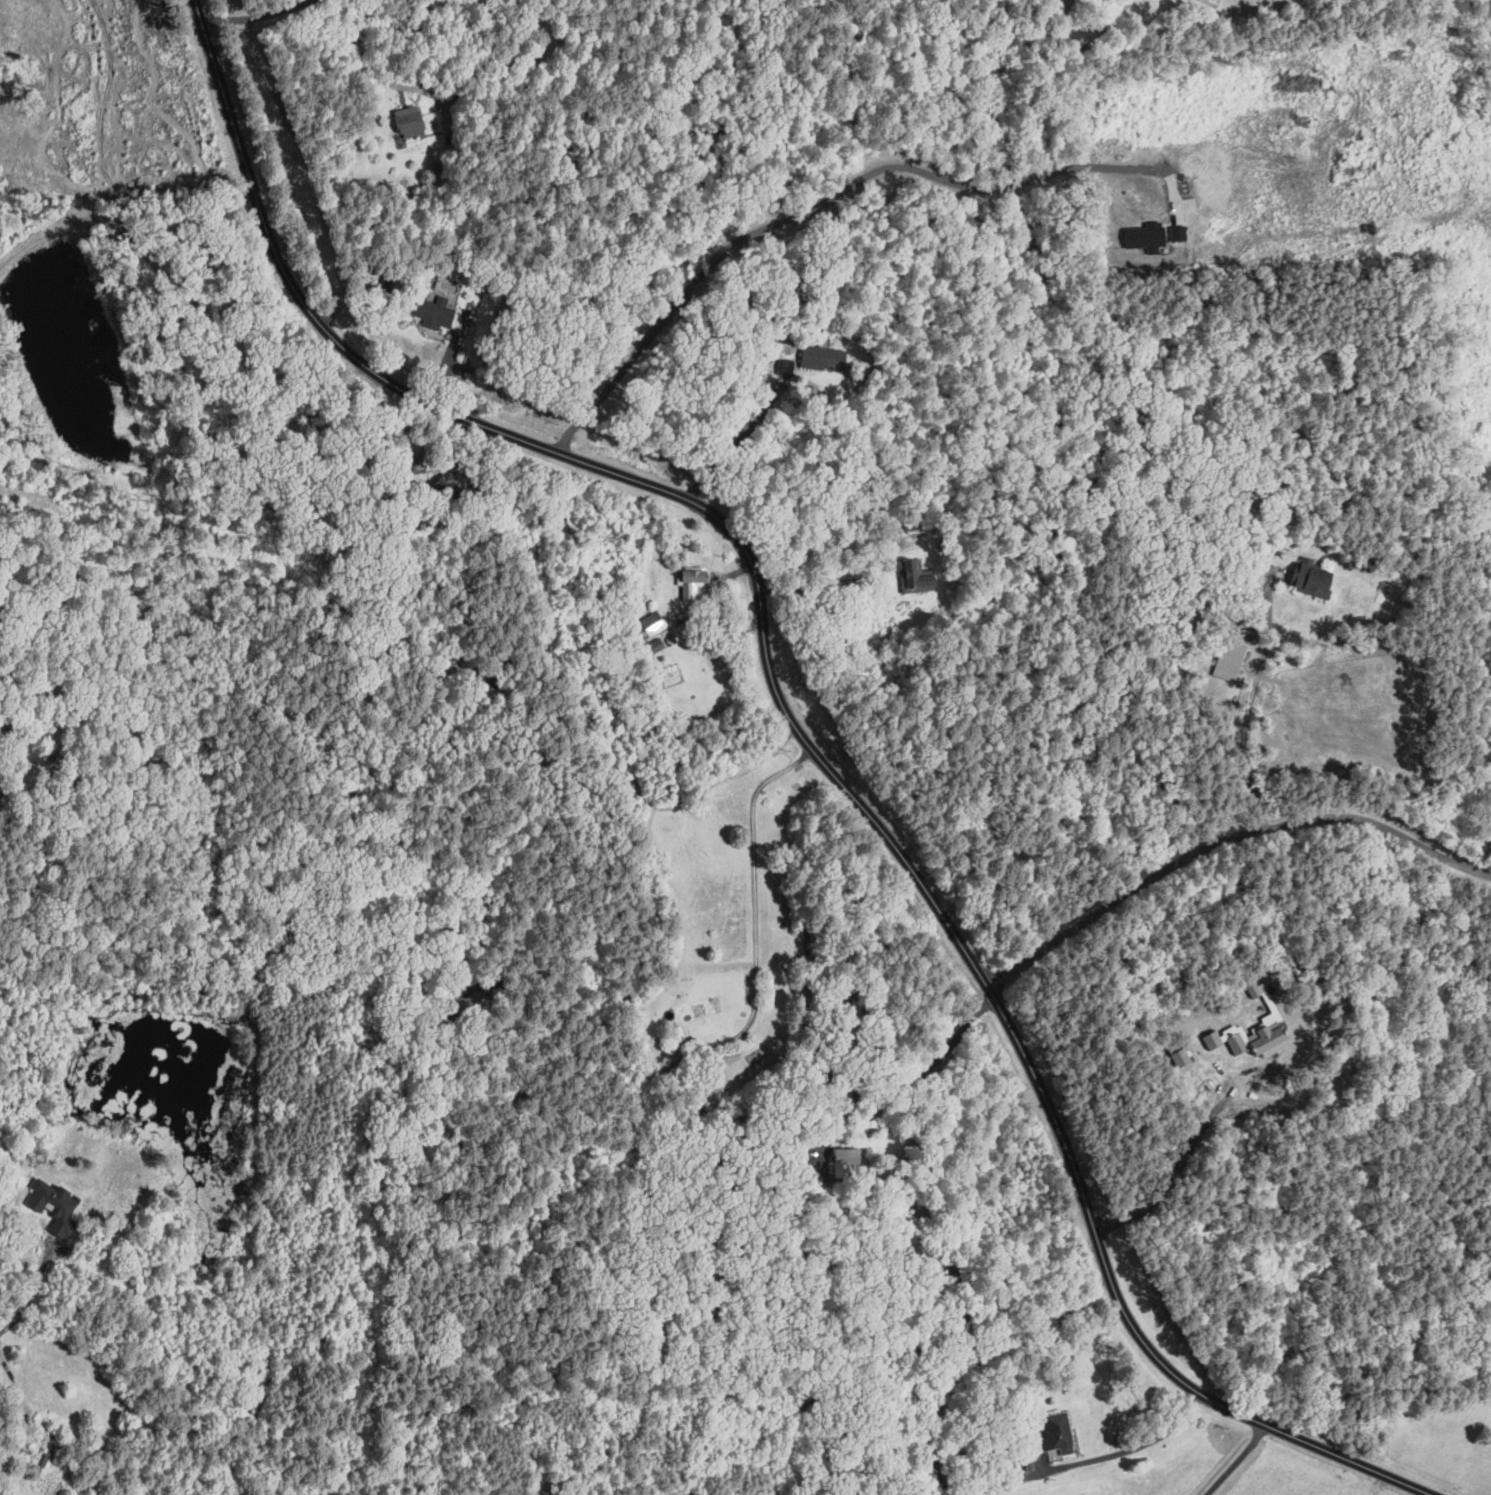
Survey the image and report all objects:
road: (251, 13)
road: (385, 81)
building: (410, 121)
road: (810, 208)
building: (1150, 242)
building: (435, 312)
building: (824, 357)
building: (786, 368)
road: (733, 445)
building: (451, 482)
building: (917, 576)
building: (1310, 579)
building: (694, 581)
road: (814, 585)
building: (653, 622)
building: (655, 644)
building: (1227, 663)
road: (1252, 706)
road: (802, 735)
road: (1227, 840)
road: (754, 896)
building: (1264, 1034)
building: (1214, 1038)
building: (1239, 1042)
building: (1182, 1056)
road: (938, 1060)
road: (830, 1077)
road: (837, 1121)
building: (845, 1159)
building: (51, 1206)
road: (31, 1291)
road: (18, 1381)
building: (1058, 1432)
road: (1139, 1445)
road: (1235, 1460)

